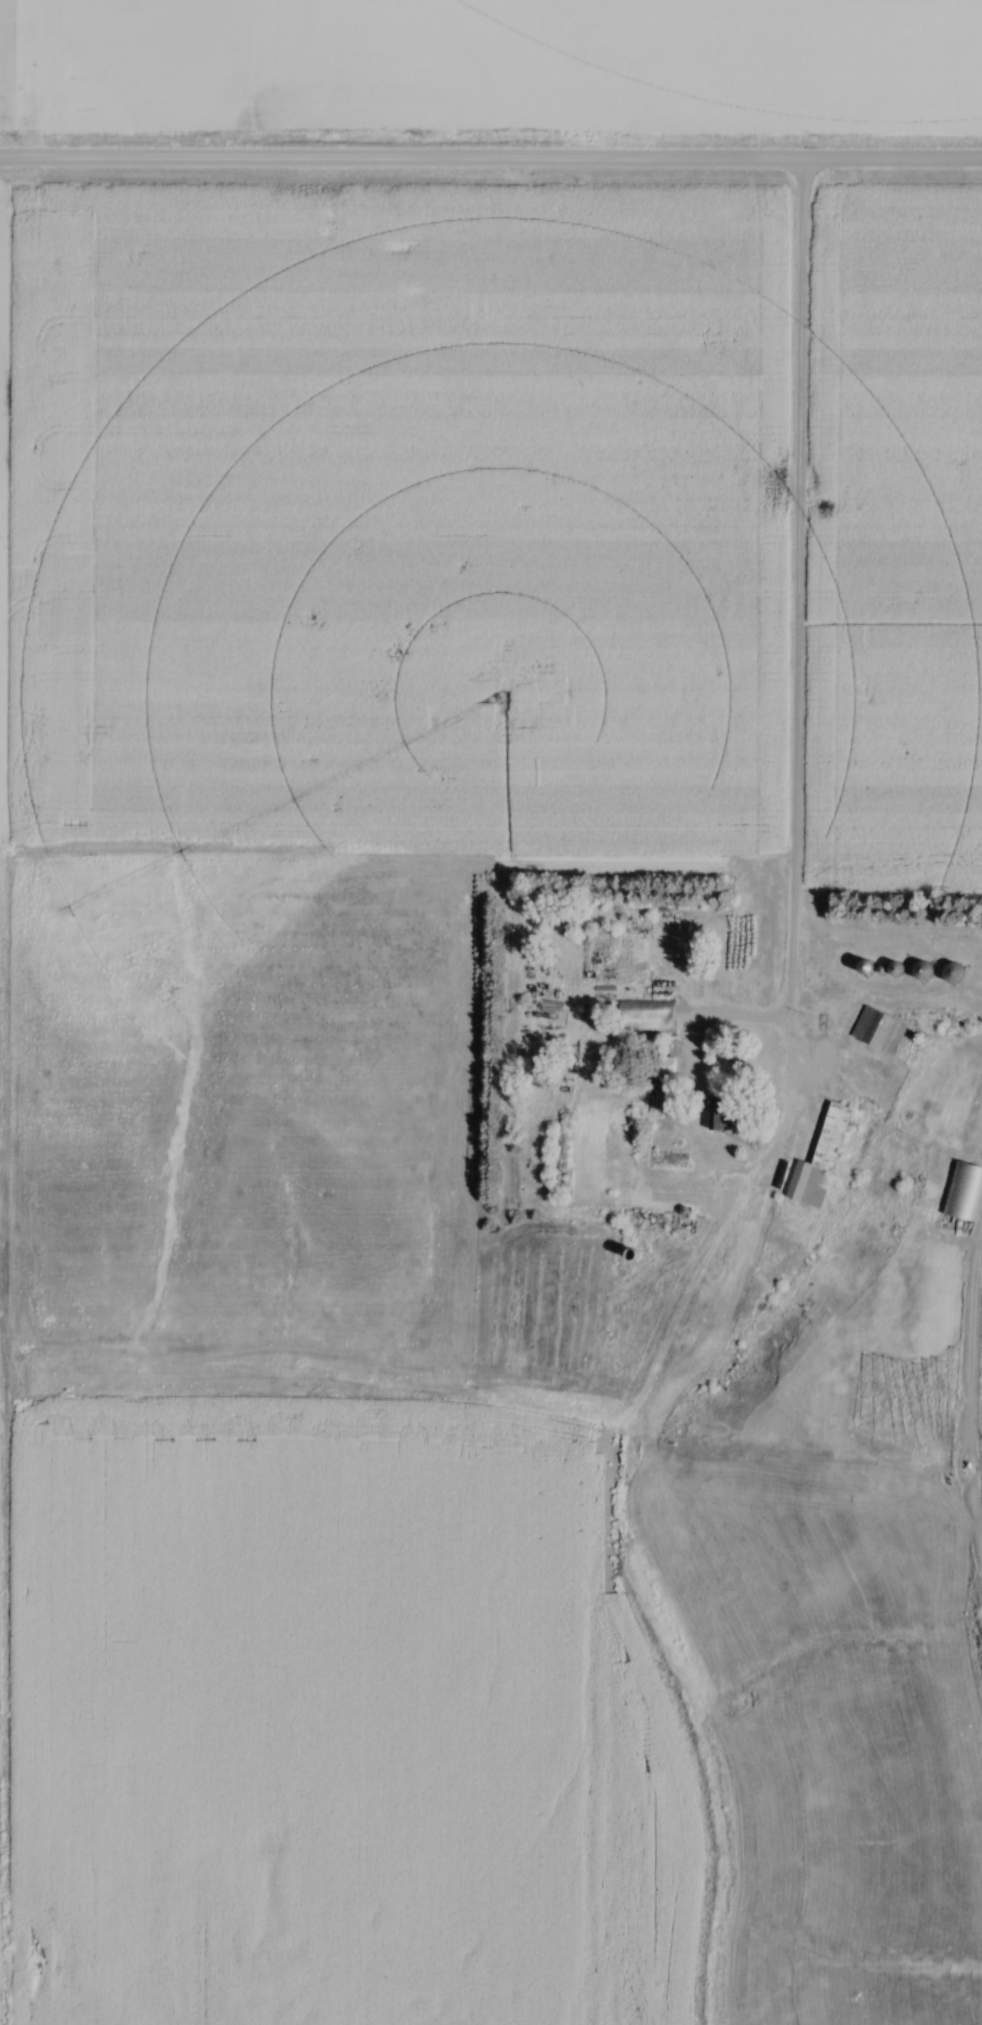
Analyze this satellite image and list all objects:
road: (491, 163)
road: (796, 638)
building: (481, 903)
building: (871, 968)
building: (925, 973)
building: (958, 974)
building: (651, 1016)
building: (881, 1031)
building: (726, 1117)
building: (823, 1162)
building: (965, 1192)

